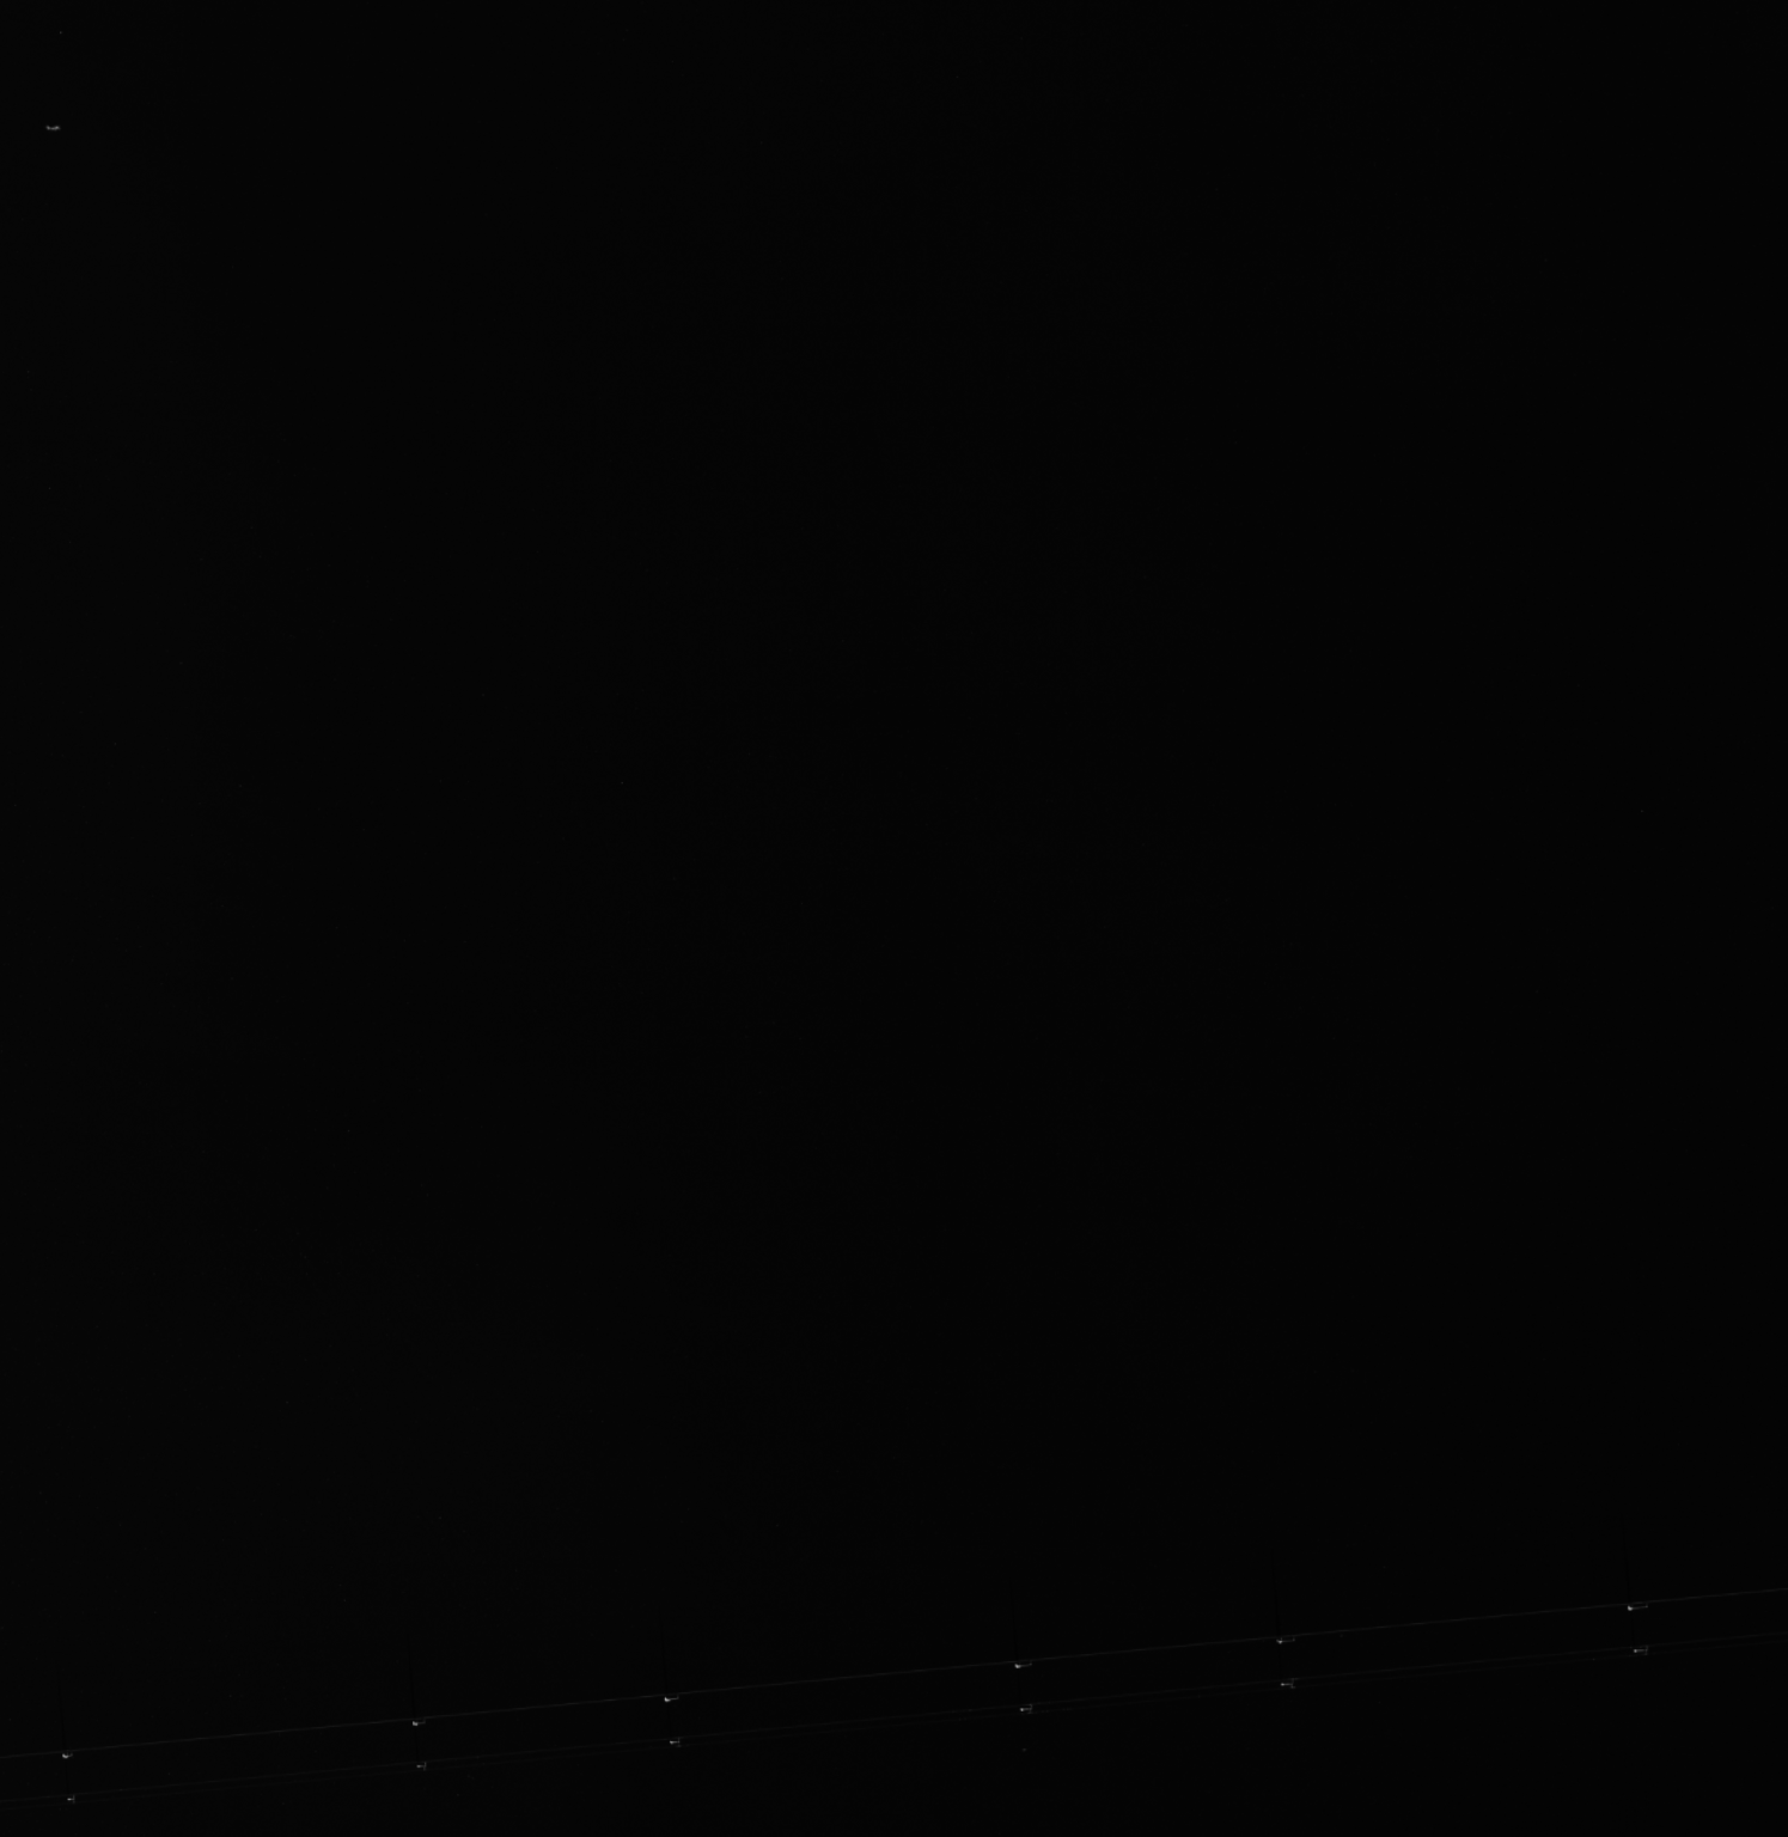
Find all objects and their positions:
river: (1094, 920)

